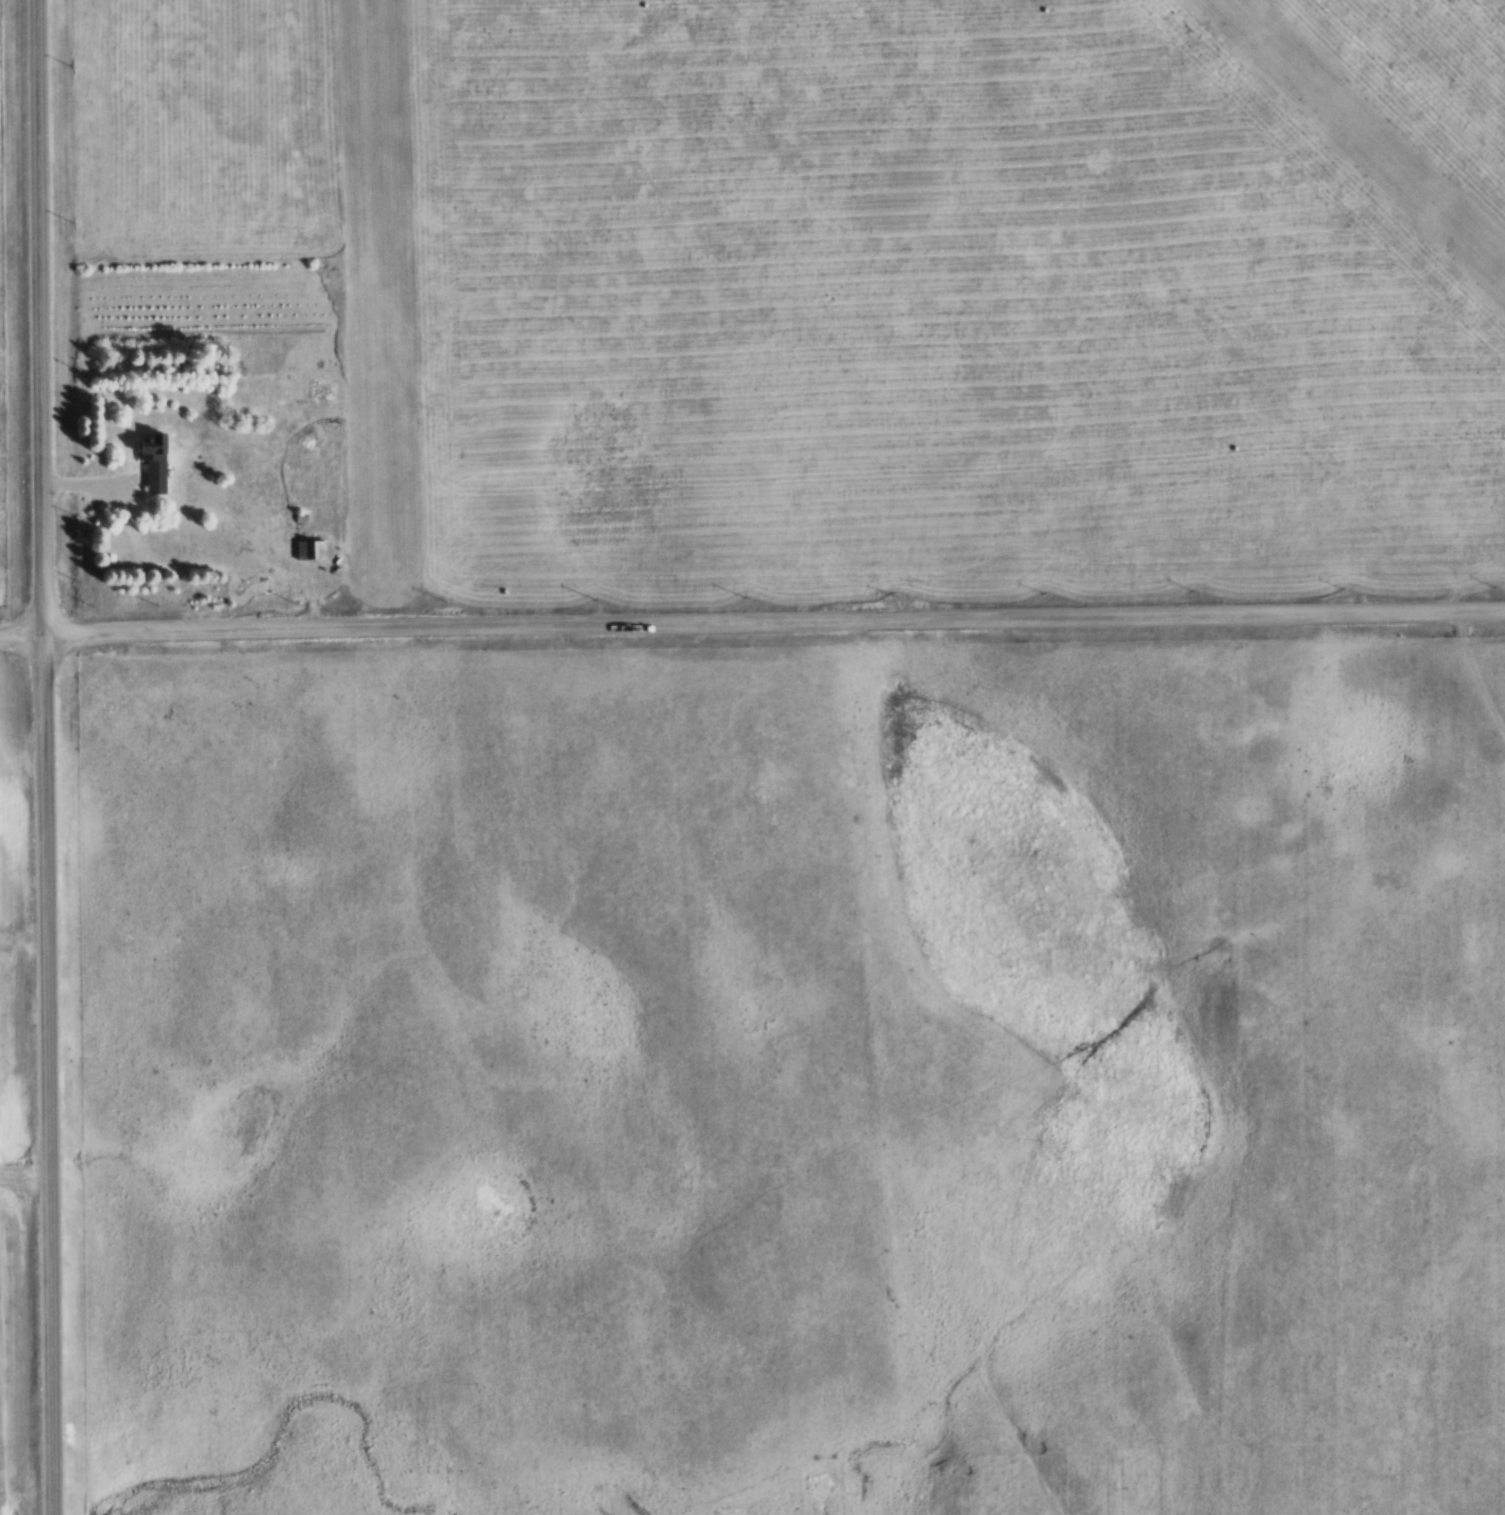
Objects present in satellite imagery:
airport runway: (1356, 145)
airport runway: (369, 289)
building: (151, 463)
building: (309, 551)
road: (752, 626)
road: (53, 757)

